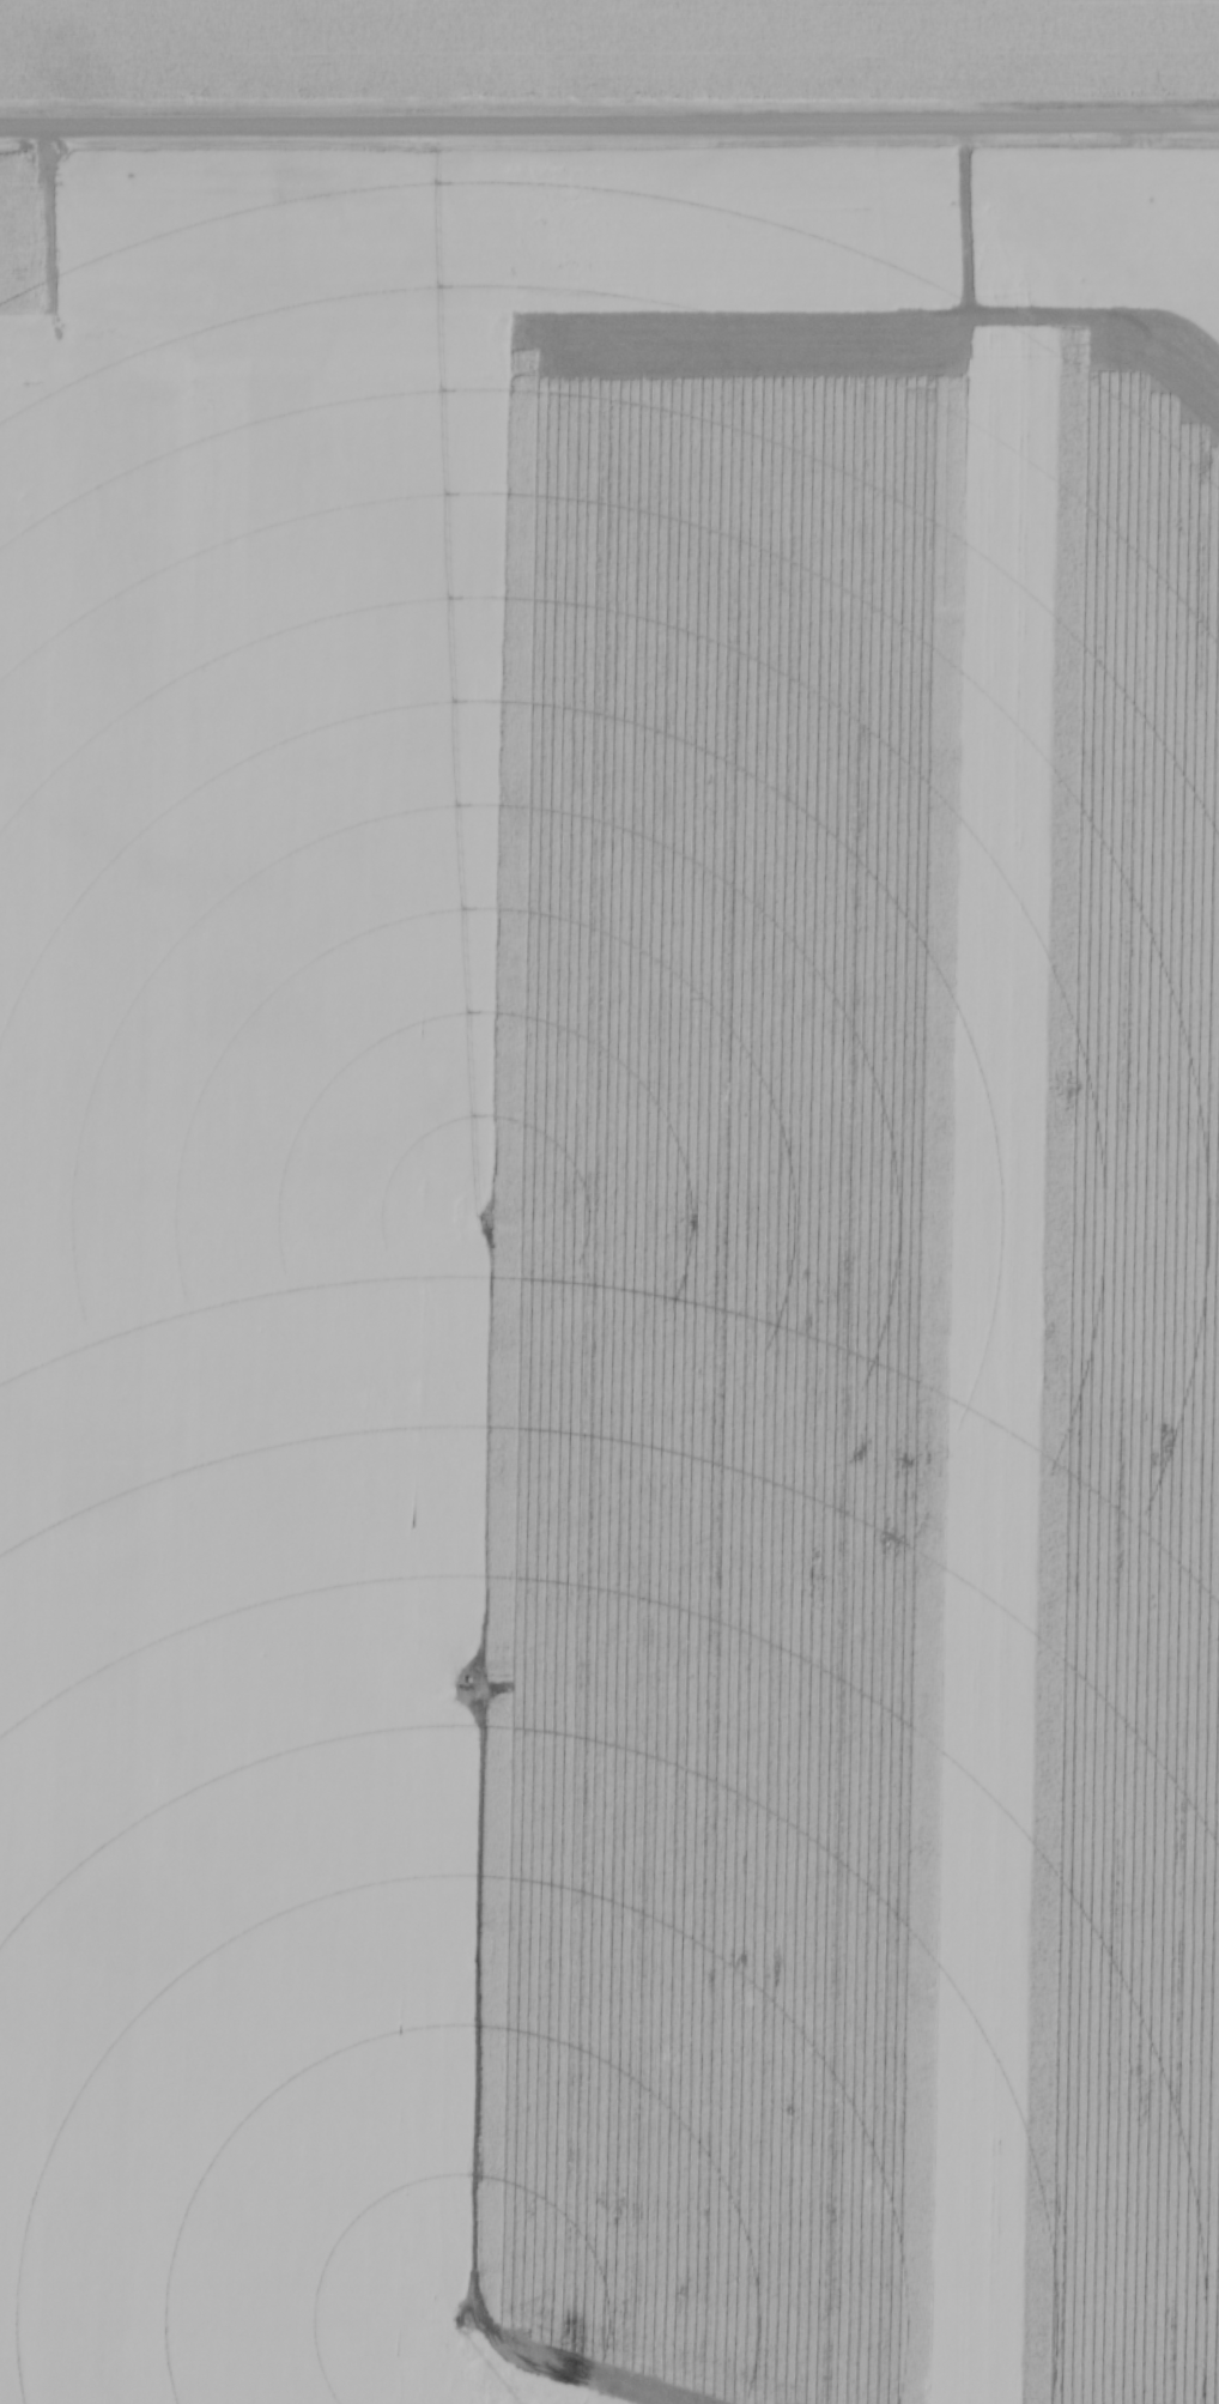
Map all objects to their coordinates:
road: (608, 125)

